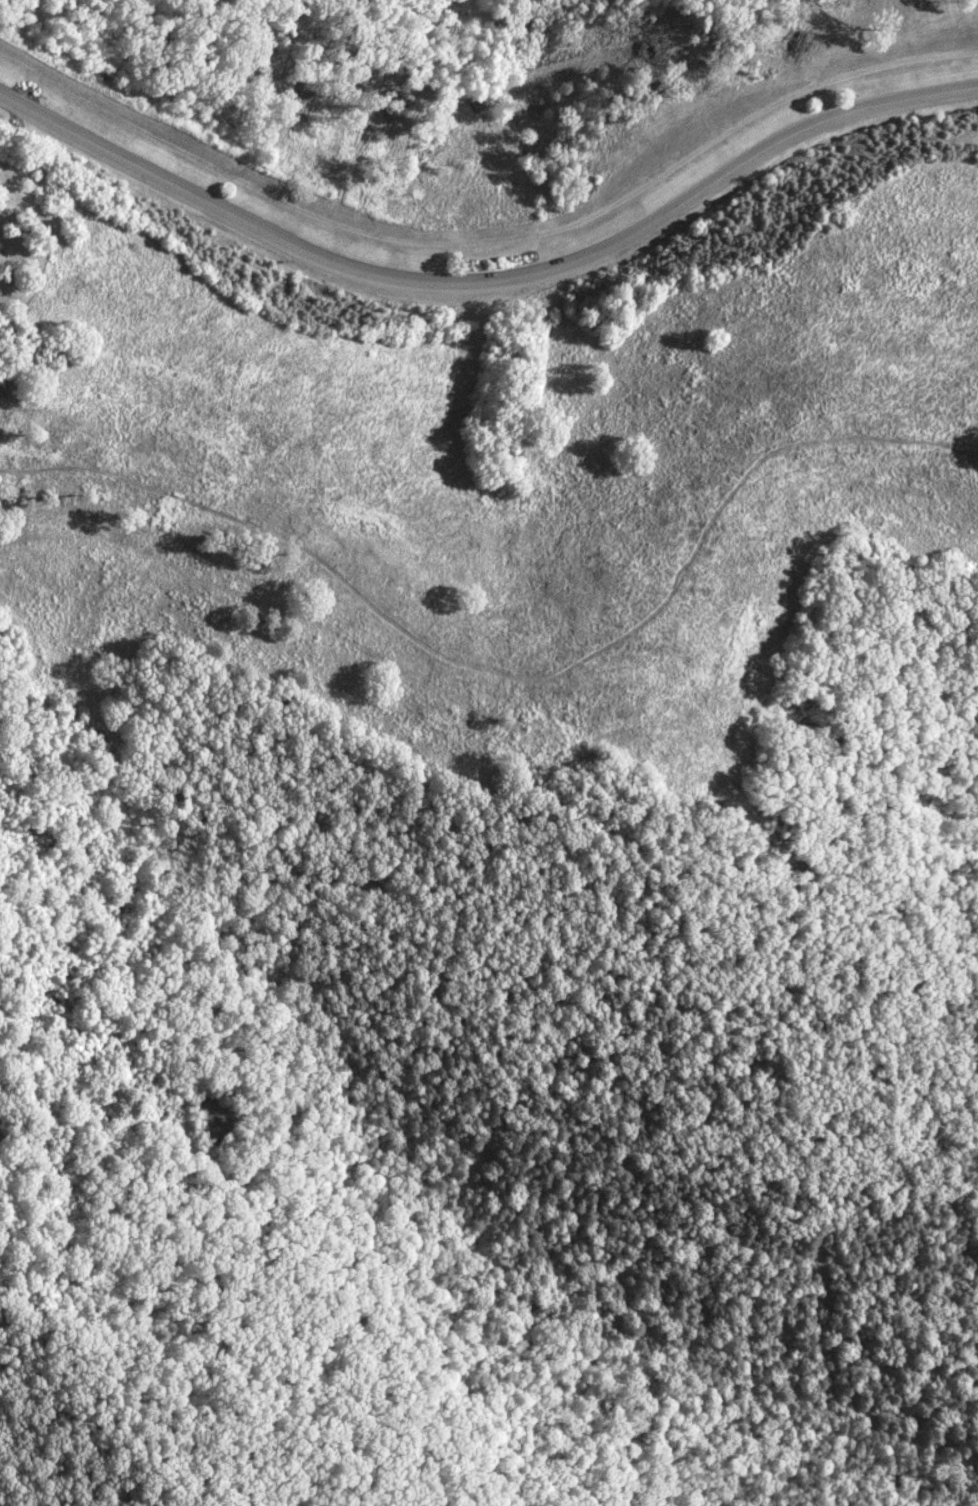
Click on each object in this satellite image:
road: (489, 277)

